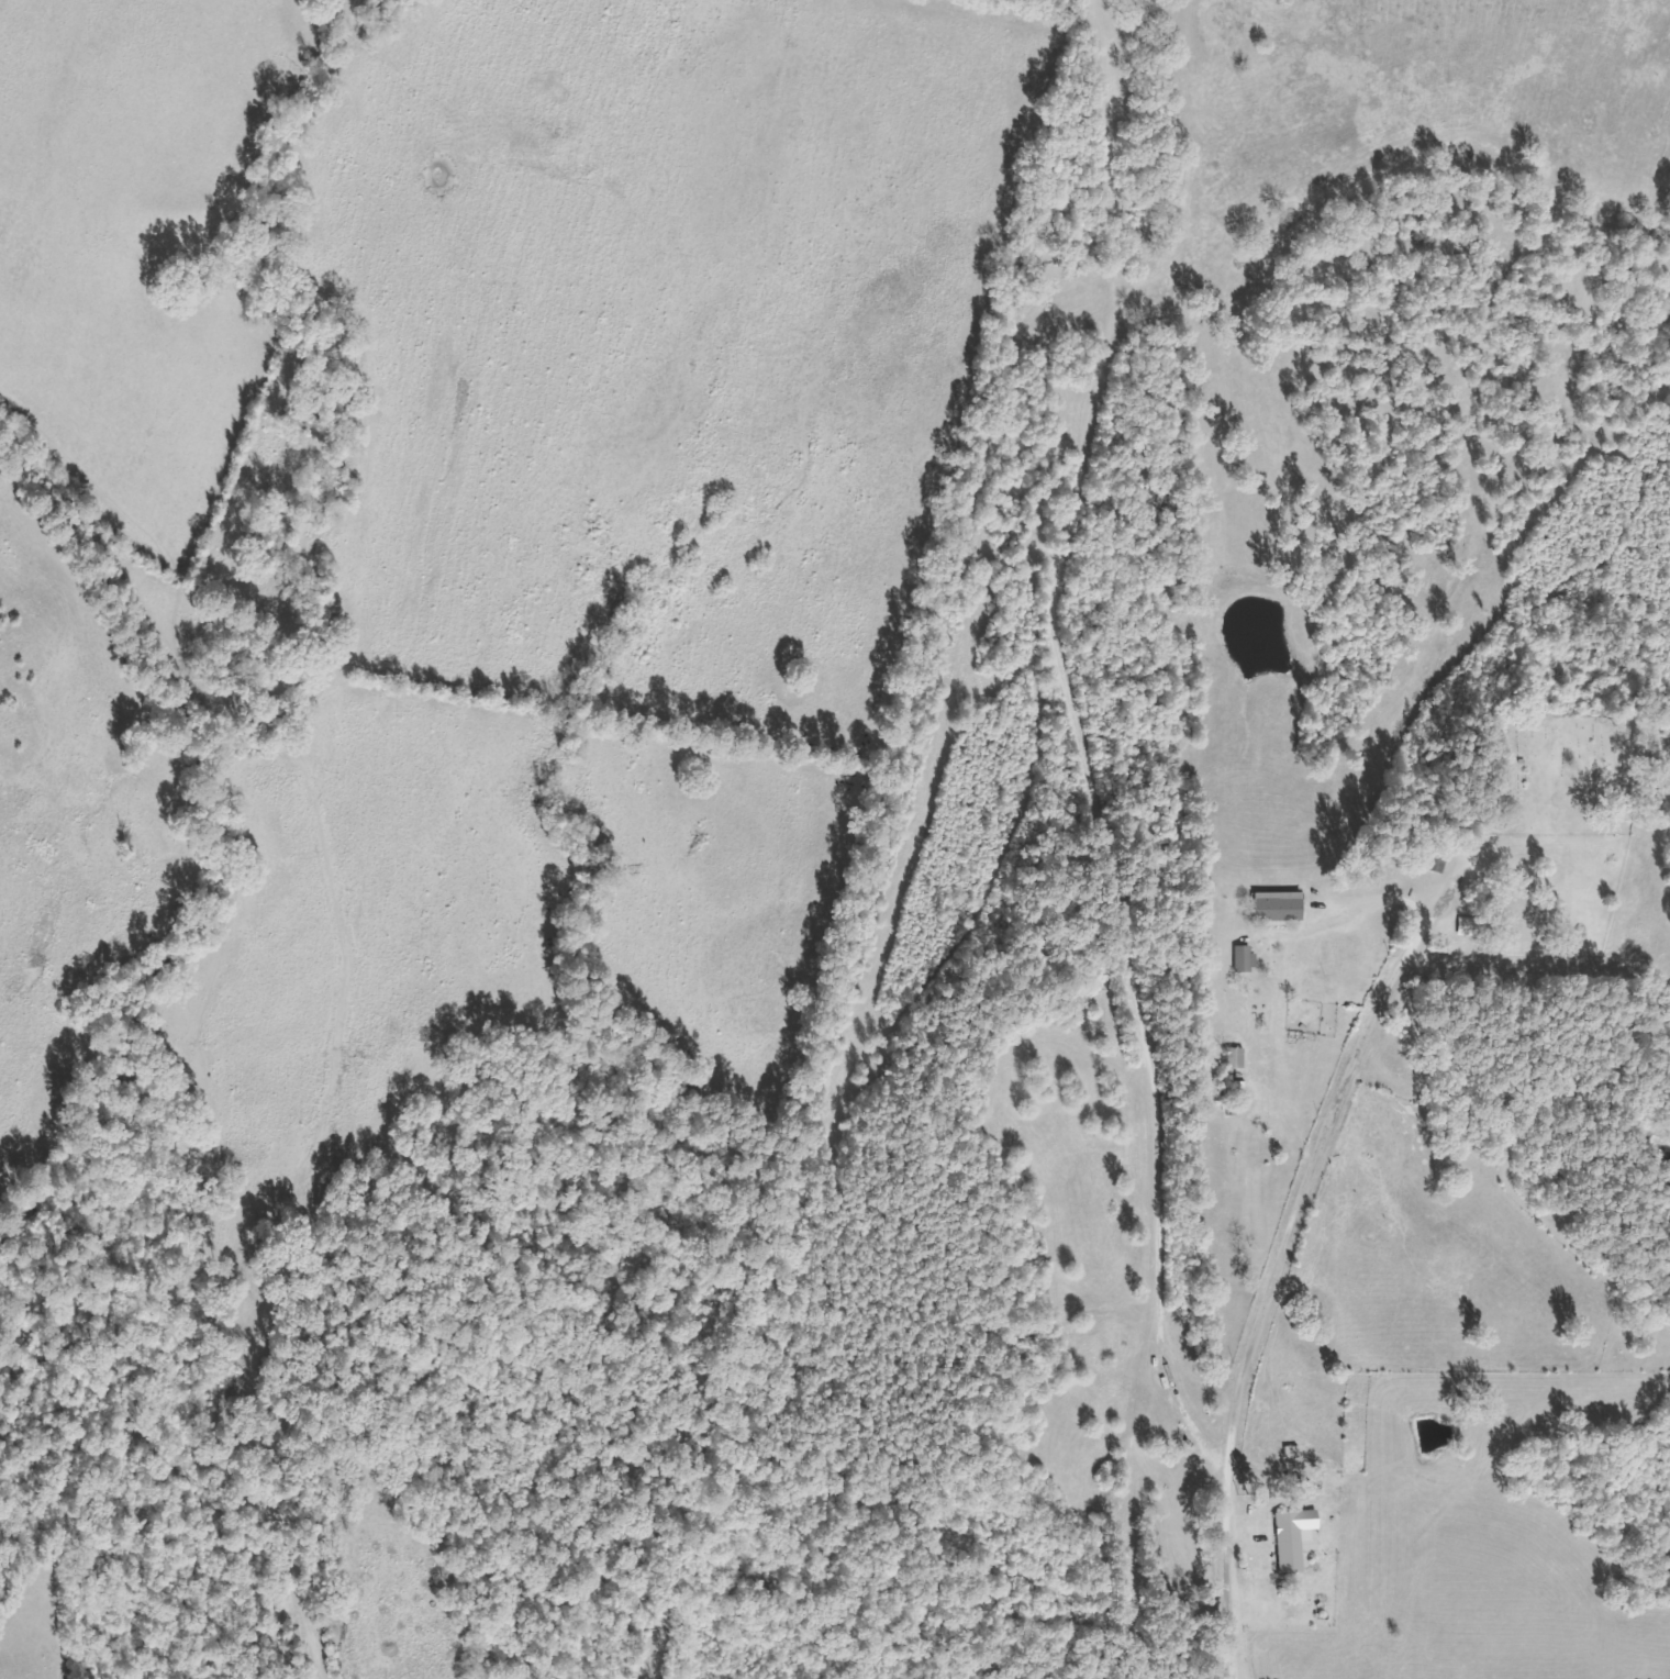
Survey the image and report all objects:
road: (1023, 689)
park: (1560, 774)
building: (1282, 909)
building: (1474, 930)
building: (1248, 960)
building: (1240, 1060)
road: (1312, 1197)
road: (1236, 1528)
building: (1301, 1542)

